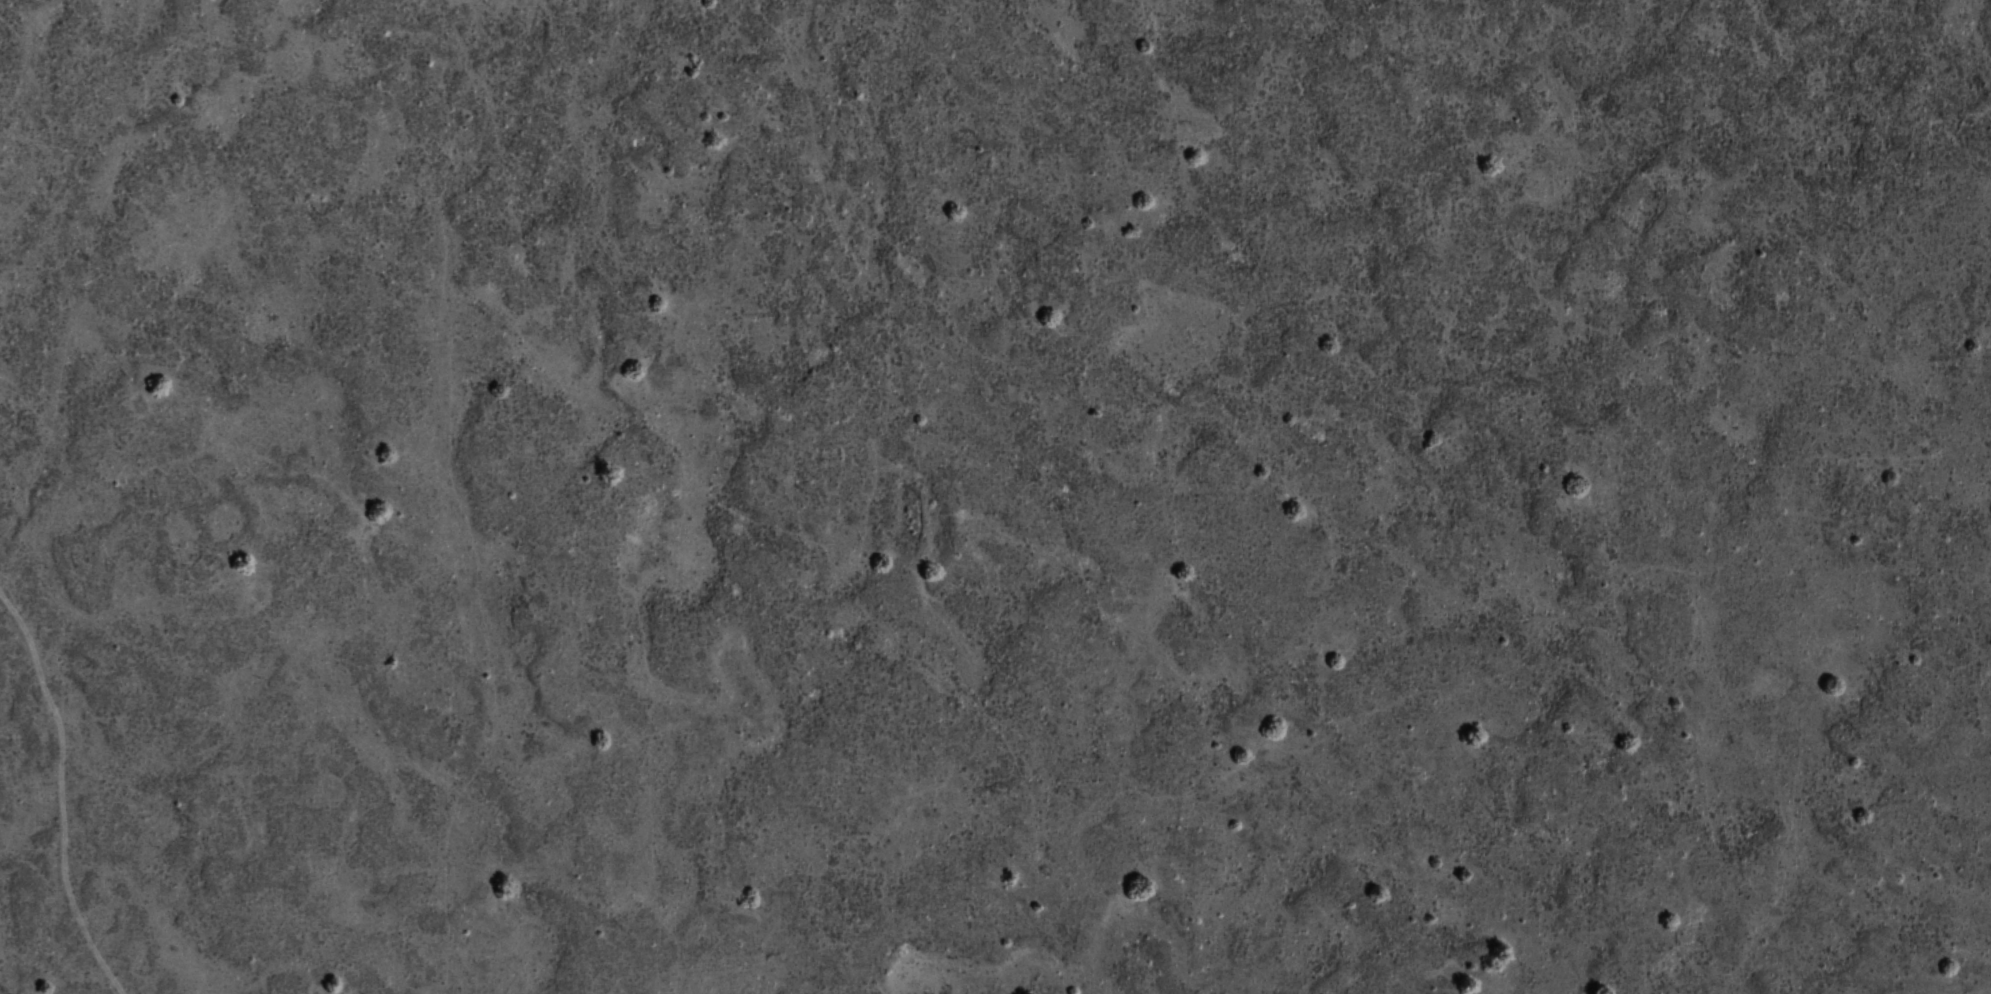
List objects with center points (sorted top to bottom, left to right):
road: (68, 794)

